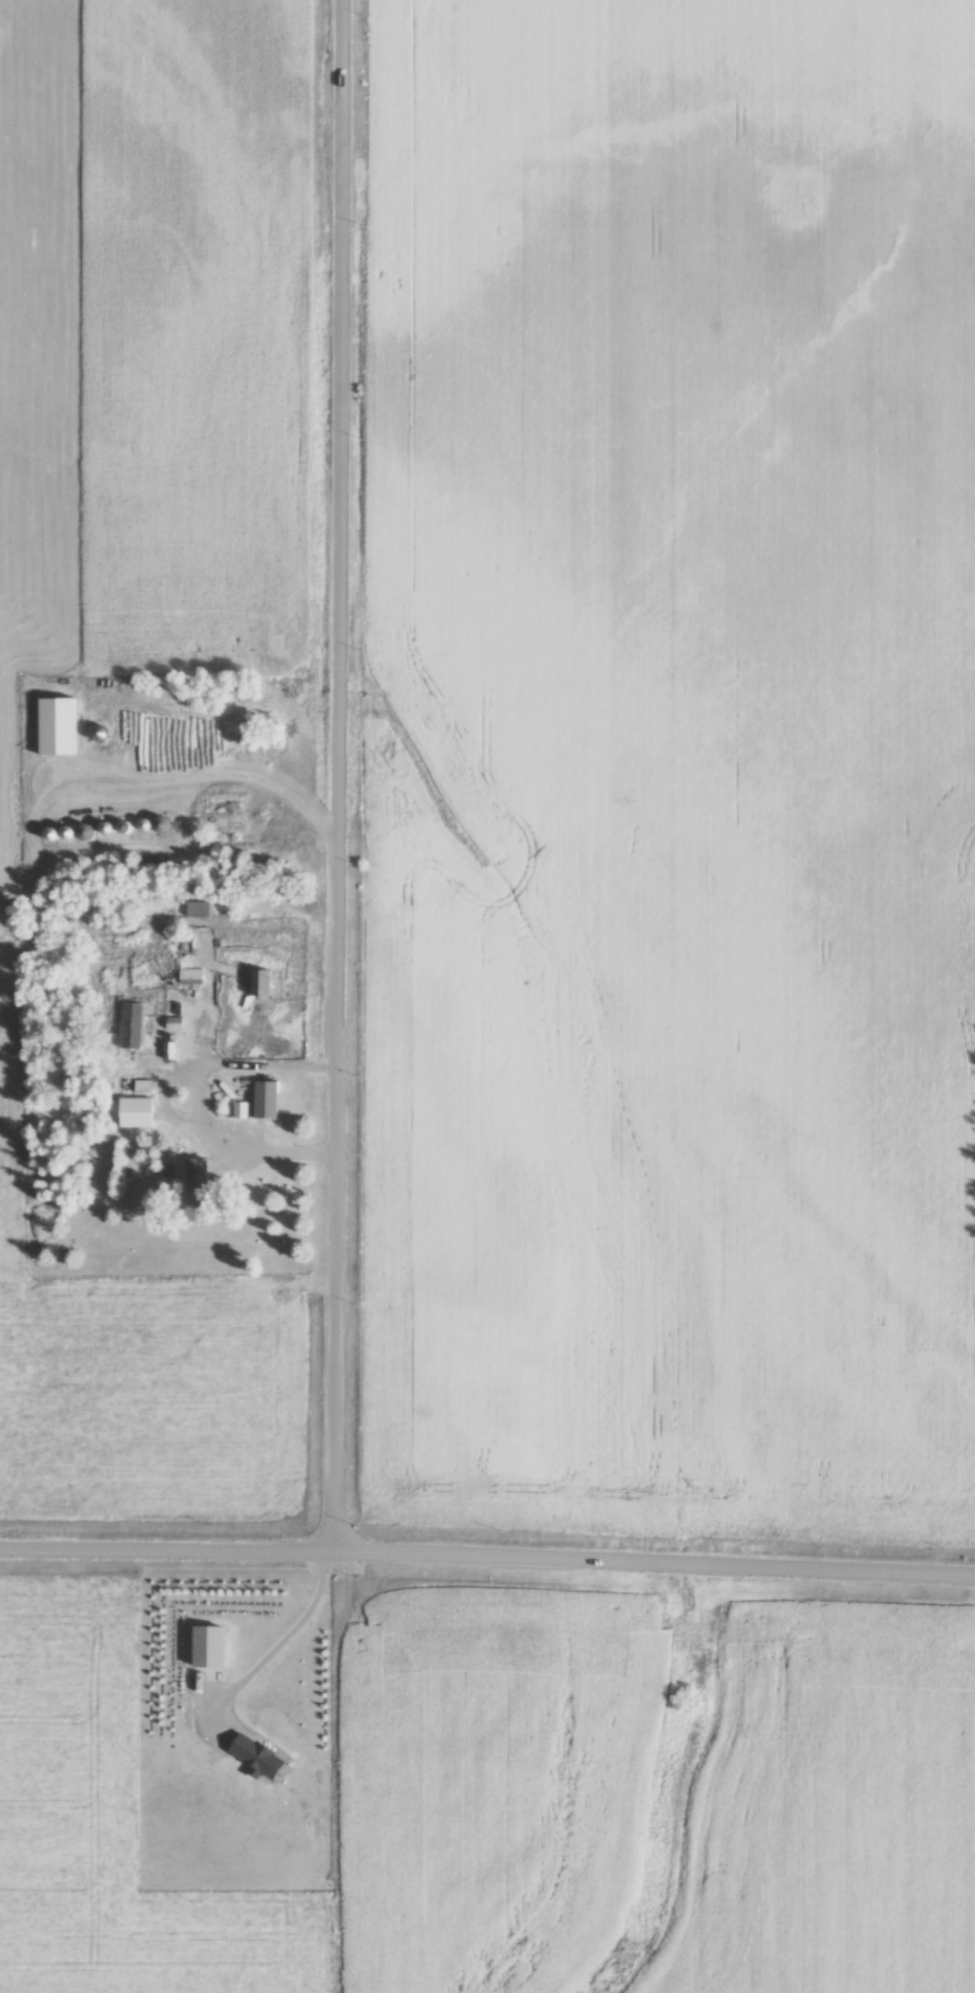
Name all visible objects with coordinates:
building: (59, 727)
road: (338, 771)
building: (199, 909)
building: (193, 977)
building: (263, 984)
building: (176, 1023)
building: (134, 1026)
building: (171, 1052)
building: (144, 1087)
building: (268, 1100)
building: (138, 1113)
building: (201, 1207)
road: (487, 1549)
road: (288, 1635)
building: (261, 1757)

